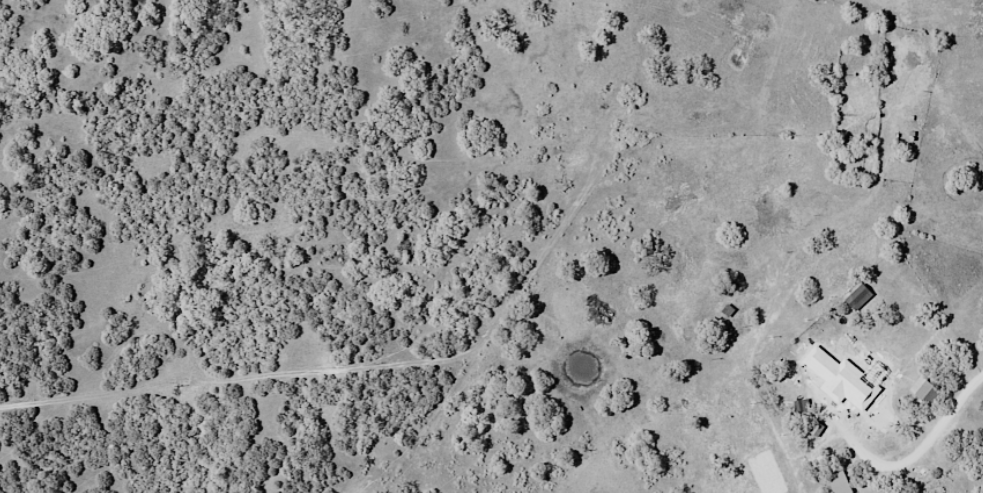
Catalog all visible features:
building: (872, 331)
building: (871, 383)
building: (920, 387)
road: (776, 389)
building: (800, 406)
building: (838, 483)

